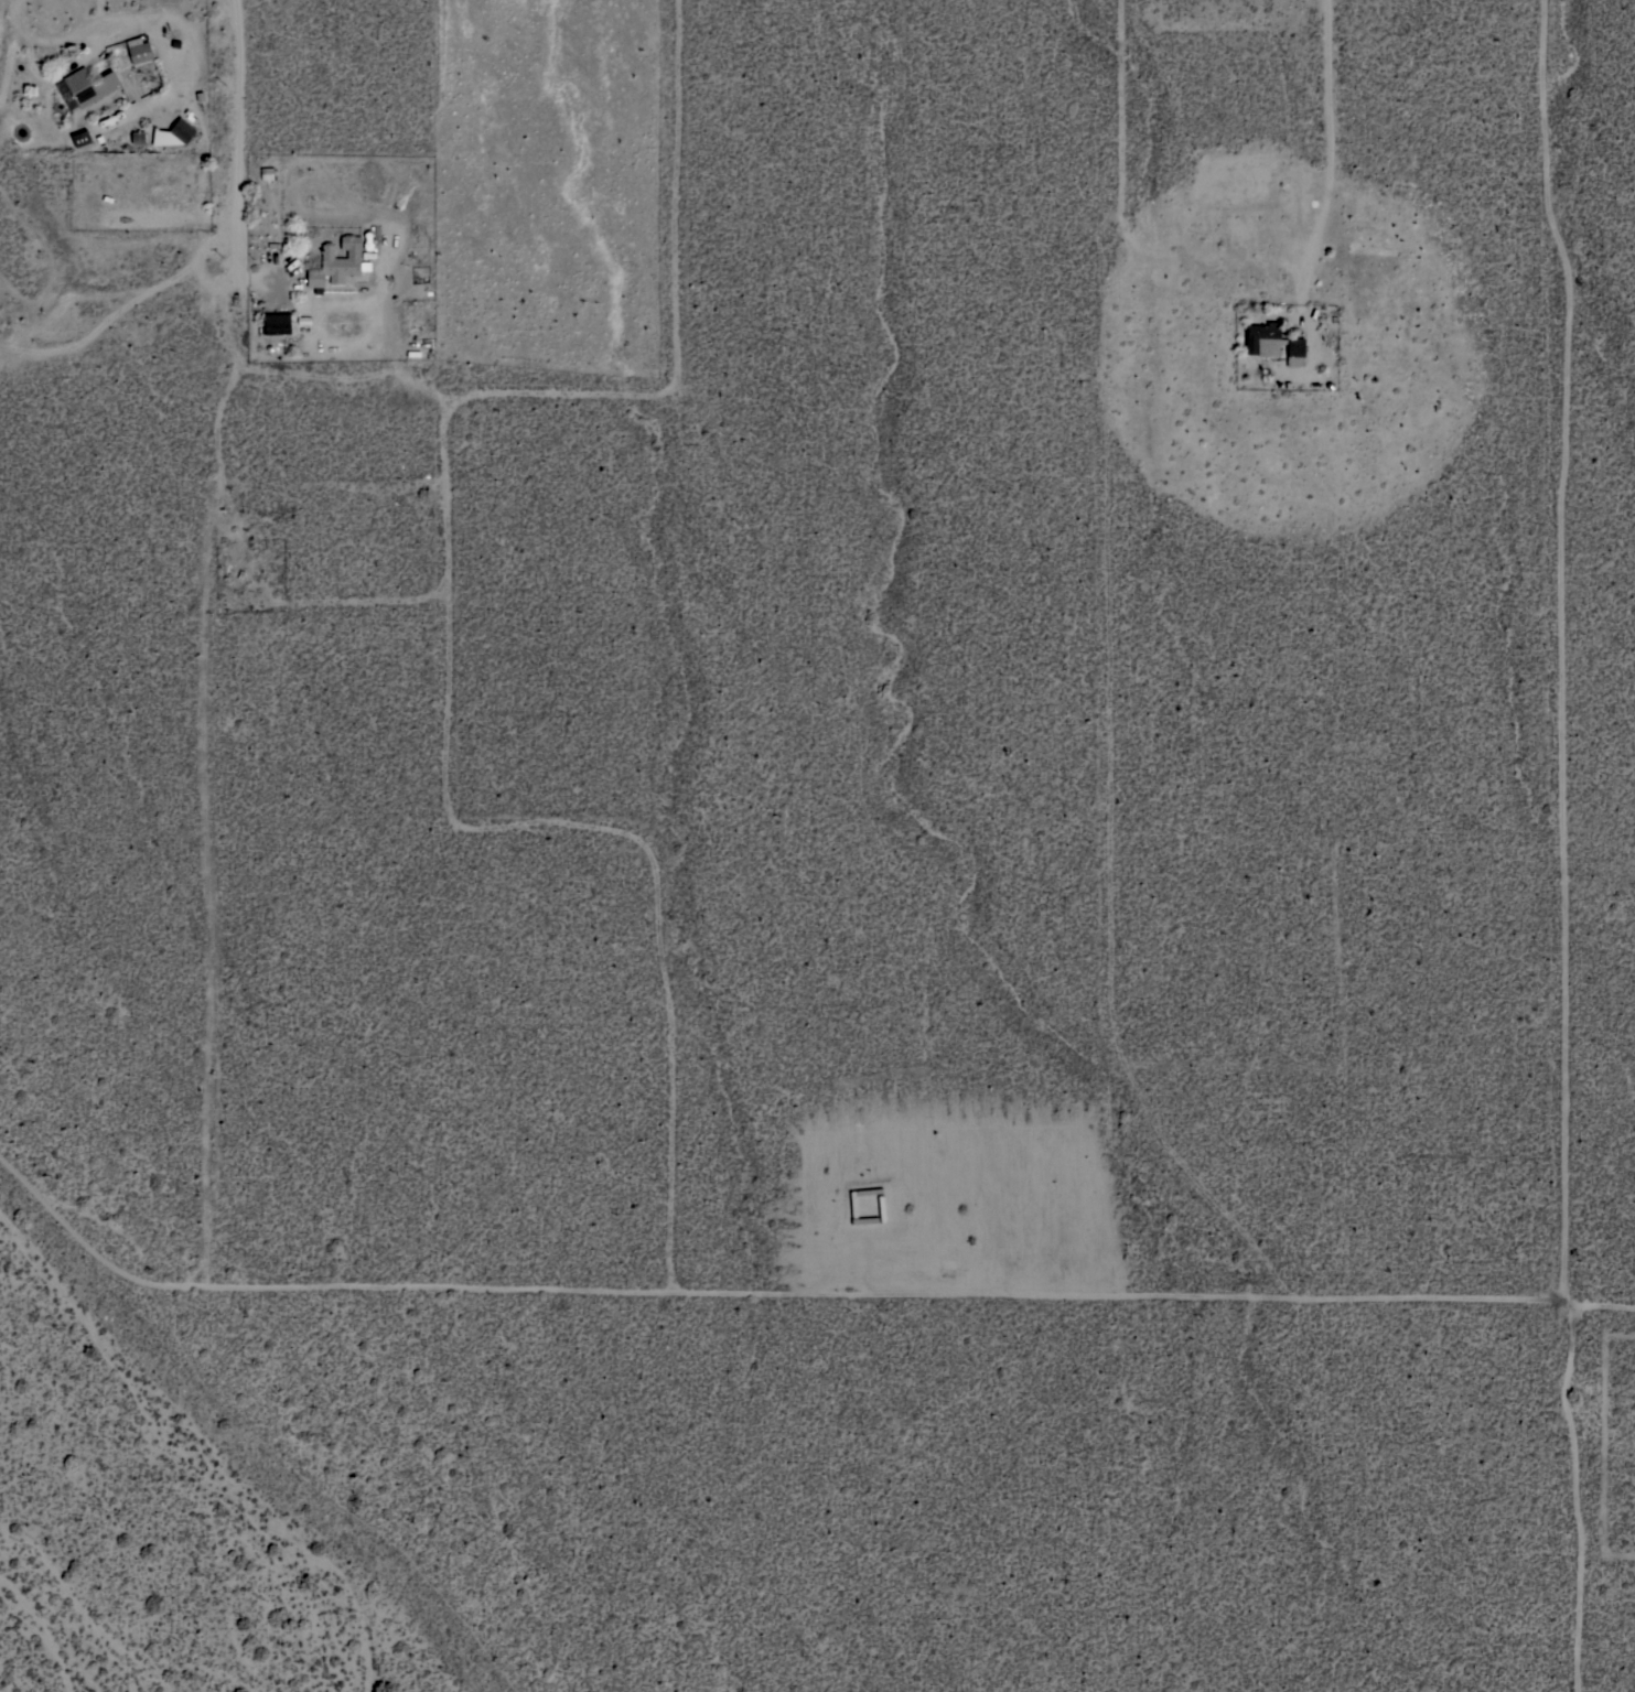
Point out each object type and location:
road: (31, 40)
building: (139, 50)
building: (89, 86)
building: (174, 133)
building: (80, 138)
road: (1336, 146)
building: (267, 173)
building: (152, 212)
building: (336, 262)
road: (340, 305)
building: (276, 323)
building: (1272, 343)
road: (461, 398)
road: (448, 601)
road: (1569, 845)
road: (1604, 1305)

